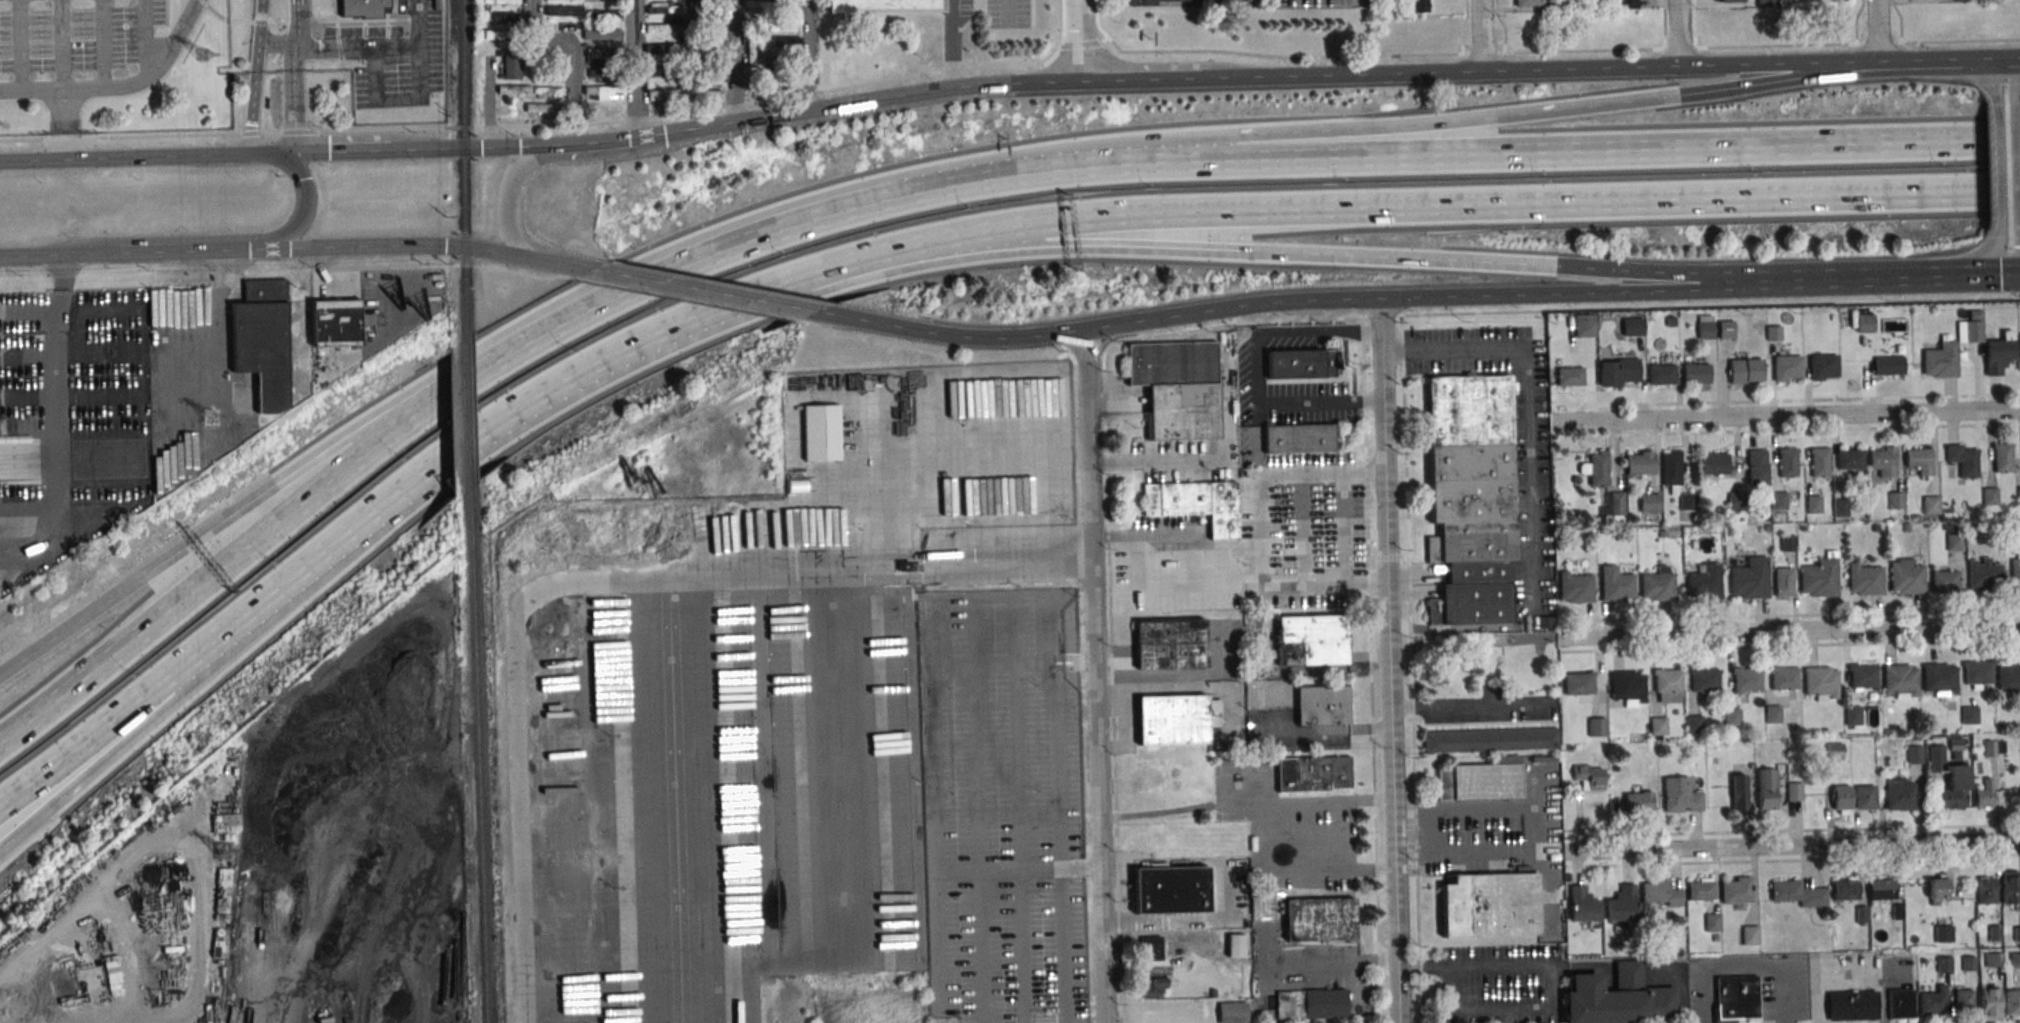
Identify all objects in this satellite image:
building: (1728, 1)
road: (297, 2)
building: (500, 2)
building: (1529, 2)
building: (1765, 3)
building: (755, 4)
building: (1142, 4)
building: (1628, 4)
building: (895, 5)
building: (398, 6)
building: (1420, 6)
building: (665, 7)
building: (1564, 7)
building: (363, 8)
building: (564, 11)
road: (1007, 12)
building: (604, 16)
building: (504, 17)
building: (753, 18)
road: (1901, 20)
road: (1096, 21)
road: (1856, 21)
building: (784, 22)
road: (1695, 24)
road: (1664, 25)
road: (1503, 26)
building: (664, 27)
road: (1462, 27)
road: (1879, 31)
parking lot: (76, 34)
building: (496, 34)
building: (601, 34)
road: (1680, 34)
road: (144, 35)
road: (1481, 37)
building: (785, 40)
road: (1079, 41)
road: (278, 44)
road: (62, 45)
building: (664, 48)
road: (357, 49)
building: (754, 52)
road: (1560, 52)
building: (598, 53)
road: (812, 55)
power tower: (202, 56)
parking lot: (393, 57)
road: (572, 59)
road: (733, 60)
road: (1992, 62)
road: (1922, 63)
building: (511, 66)
road: (1840, 66)
road: (632, 69)
road: (1741, 69)
building: (665, 70)
road: (1974, 71)
road: (1582, 72)
building: (601, 73)
railway: (464, 74)
building: (712, 75)
road: (294, 76)
road: (256, 77)
road: (1345, 78)
road: (1144, 82)
road: (121, 87)
building: (530, 90)
road: (945, 91)
building: (603, 92)
building: (667, 94)
building: (710, 94)
road: (419, 97)
road: (1649, 98)
road: (488, 103)
building: (542, 108)
road: (774, 117)
road: (64, 125)
road: (559, 127)
road: (1357, 128)
road: (669, 132)
road: (1990, 140)
road: (574, 144)
road: (503, 146)
road: (427, 149)
road: (1590, 149)
road: (344, 152)
road: (287, 153)
road: (263, 154)
road: (558, 157)
road: (124, 158)
road: (2015, 168)
road: (1994, 172)
road: (1982, 192)
road: (904, 195)
railway: (463, 197)
road: (1498, 204)
road: (1010, 230)
road: (206, 238)
road: (929, 246)
road: (248, 249)
road: (502, 252)
road: (1273, 253)
road: (16, 256)
road: (862, 263)
road: (455, 265)
road: (566, 265)
road: (1961, 269)
road: (1982, 276)
road: (1829, 280)
road: (624, 288)
road: (706, 291)
railway: (464, 297)
road: (1398, 297)
road: (726, 307)
road: (30, 311)
road: (1393, 316)
building: (335, 322)
building: (1864, 322)
building: (1670, 323)
building: (1584, 325)
building: (1632, 326)
building: (1705, 326)
building: (1725, 328)
building: (1970, 328)
road: (1359, 332)
building: (1773, 332)
road: (1261, 333)
road: (952, 335)
road: (655, 339)
building: (262, 341)
road: (512, 350)
building: (1998, 352)
building: (1942, 358)
building: (1303, 363)
building: (1888, 365)
building: (1822, 366)
building: (1786, 367)
building: (1616, 371)
building: (1746, 371)
building: (1696, 373)
building: (1662, 374)
building: (1569, 376)
building: (1178, 386)
road: (1803, 400)
road: (1225, 401)
road: (1282, 403)
road: (1525, 404)
power tower: (211, 418)
road: (1789, 419)
road: (395, 423)
railway: (467, 423)
road: (59, 425)
road: (1815, 429)
building: (822, 433)
building: (1299, 438)
road: (460, 454)
building: (2002, 458)
building: (1850, 460)
road: (1155, 461)
building: (1919, 461)
building: (1964, 461)
building: (1883, 462)
building: (1641, 463)
building: (1714, 463)
building: (1787, 463)
building: (1819, 463)
building: (1756, 466)
building: (1671, 467)
building: (1598, 469)
building: (792, 480)
building: (2019, 494)
building: (1989, 496)
building: (1470, 499)
building: (1687, 500)
building: (1778, 500)
building: (1895, 500)
building: (1649, 502)
building: (1737, 502)
building: (1197, 504)
building: (1612, 504)
building: (1813, 504)
building: (1930, 504)
building: (1840, 506)
building: (1766, 519)
building: (1768, 528)
building: (1875, 528)
building: (1906, 528)
building: (1996, 528)
road: (1301, 529)
road: (1344, 529)
building: (1802, 529)
road: (1261, 530)
building: (1662, 534)
building: (1954, 541)
building: (1788, 543)
road: (341, 545)
road: (1173, 548)
road: (179, 552)
road: (910, 554)
road: (1017, 561)
building: (2015, 573)
building: (1985, 575)
road: (781, 576)
road: (912, 577)
building: (1820, 577)
building: (1906, 577)
road: (608, 578)
building: (1750, 579)
building: (1865, 581)
building: (1705, 583)
building: (1783, 583)
building: (1945, 583)
road: (1243, 584)
building: (1616, 586)
road: (1175, 587)
building: (1657, 587)
building: (1576, 588)
road: (187, 598)
road: (993, 599)
road: (1790, 616)
road: (1789, 628)
road: (1110, 633)
building: (1311, 639)
building: (1171, 643)
road: (1791, 645)
road: (1391, 660)
road: (1000, 664)
road: (1371, 670)
road: (1411, 670)
building: (1977, 673)
road: (1092, 676)
building: (1862, 677)
building: (1940, 678)
building: (2007, 678)
building: (1784, 679)
building: (1705, 680)
building: (1747, 680)
building: (1900, 681)
building: (1821, 682)
building: (1579, 684)
building: (1668, 685)
road: (1084, 687)
building: (1628, 687)
building: (1323, 705)
road: (1472, 707)
road: (127, 712)
building: (1772, 713)
building: (1852, 714)
building: (1968, 714)
building: (1732, 717)
road: (159, 718)
building: (1177, 718)
building: (1693, 723)
building: (1658, 726)
building: (1596, 727)
building: (1490, 742)
building: (1568, 748)
building: (1993, 748)
building: (1834, 751)
building: (1914, 754)
building: (1956, 756)
railway: (479, 761)
building: (1186, 763)
building: (1751, 765)
building: (1150, 773)
building: (1314, 773)
building: (1590, 778)
building: (1949, 778)
building: (1479, 782)
building: (1767, 791)
building: (1794, 792)
building: (1739, 794)
building: (1985, 795)
building: (1680, 796)
building: (1900, 796)
building: (1865, 798)
building: (1842, 799)
building: (1638, 804)
parking lot: (1006, 807)
road: (1185, 807)
road: (1471, 809)
road: (1794, 830)
road: (25, 831)
road: (1276, 840)
road: (1793, 846)
road: (1490, 851)
power tower: (223, 852)
road: (1794, 860)
road: (999, 870)
building: (1938, 889)
building: (2010, 889)
building: (1701, 890)
building: (1846, 890)
building: (1882, 890)
road: (1224, 891)
building: (1986, 891)
building: (1171, 892)
building: (1737, 892)
building: (1662, 894)
building: (1798, 895)
building: (1622, 905)
building: (1490, 906)
building: (1583, 907)
building: (1897, 913)
building: (1862, 917)
building: (1320, 921)
road: (1119, 922)
building: (1712, 922)
building: (1943, 933)
building: (1995, 933)
building: (2017, 934)
building: (1750, 936)
building: (1236, 947)
building: (1151, 950)
building: (1992, 959)
building: (2015, 960)
road: (1528, 963)
building: (1943, 963)
building: (1969, 964)
road: (1747, 966)
road: (1313, 969)
road: (1839, 975)
road: (1120, 978)
building: (1153, 988)
building: (1618, 998)
building: (1738, 998)
road: (1884, 999)
building: (2012, 1002)
building: (1963, 1003)
building: (1934, 1004)
building: (1989, 1004)
building: (1326, 1005)
building: (1901, 1005)
road: (1458, 1007)
building: (1852, 1007)
building: (1233, 1013)

